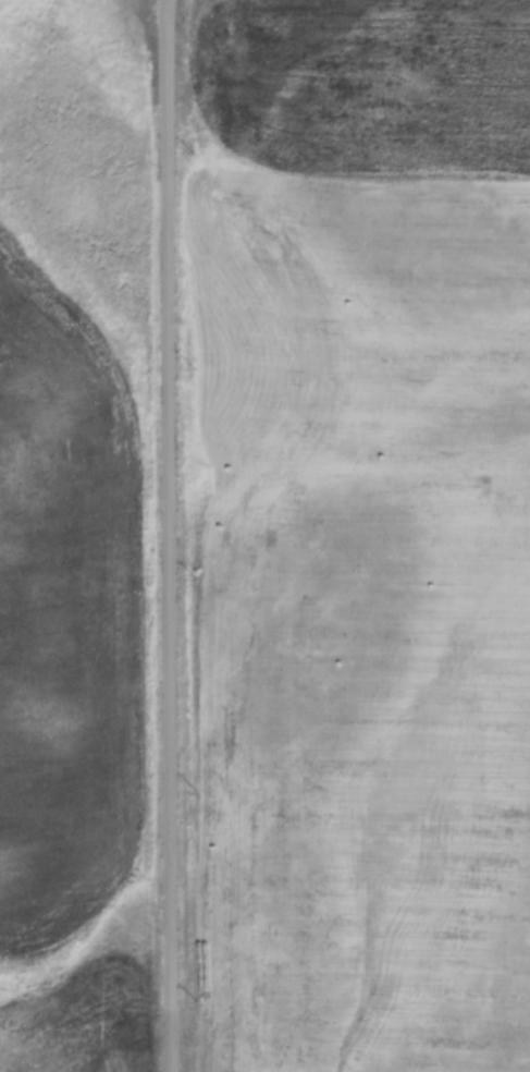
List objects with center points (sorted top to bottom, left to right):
road: (169, 536)

